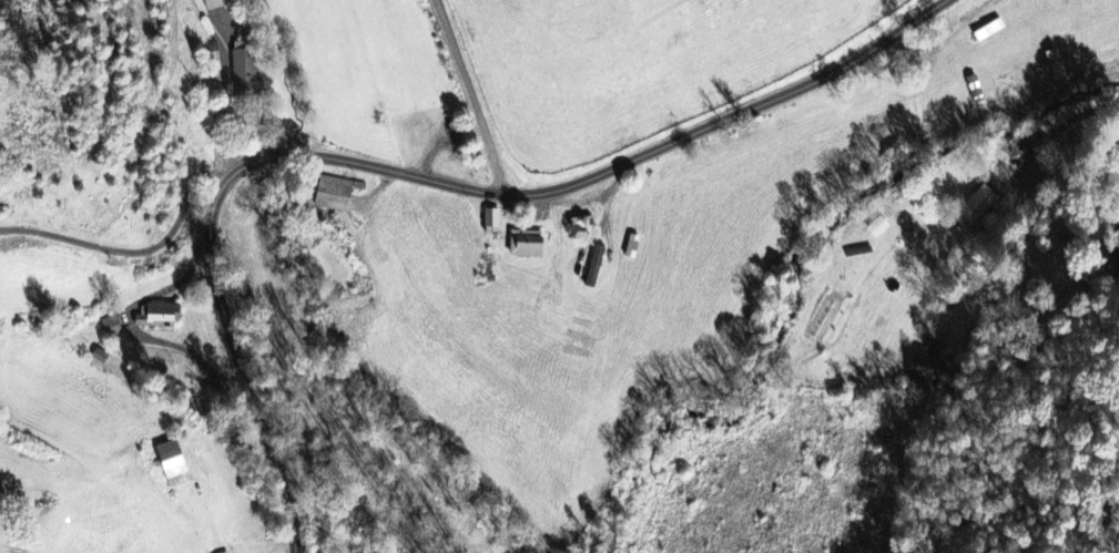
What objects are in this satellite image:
building: (214, 4)
building: (246, 69)
road: (471, 96)
road: (410, 174)
building: (978, 206)
building: (496, 219)
building: (874, 228)
building: (530, 245)
road: (149, 246)
building: (1116, 252)
building: (162, 316)
building: (112, 327)
building: (927, 365)
building: (176, 464)

